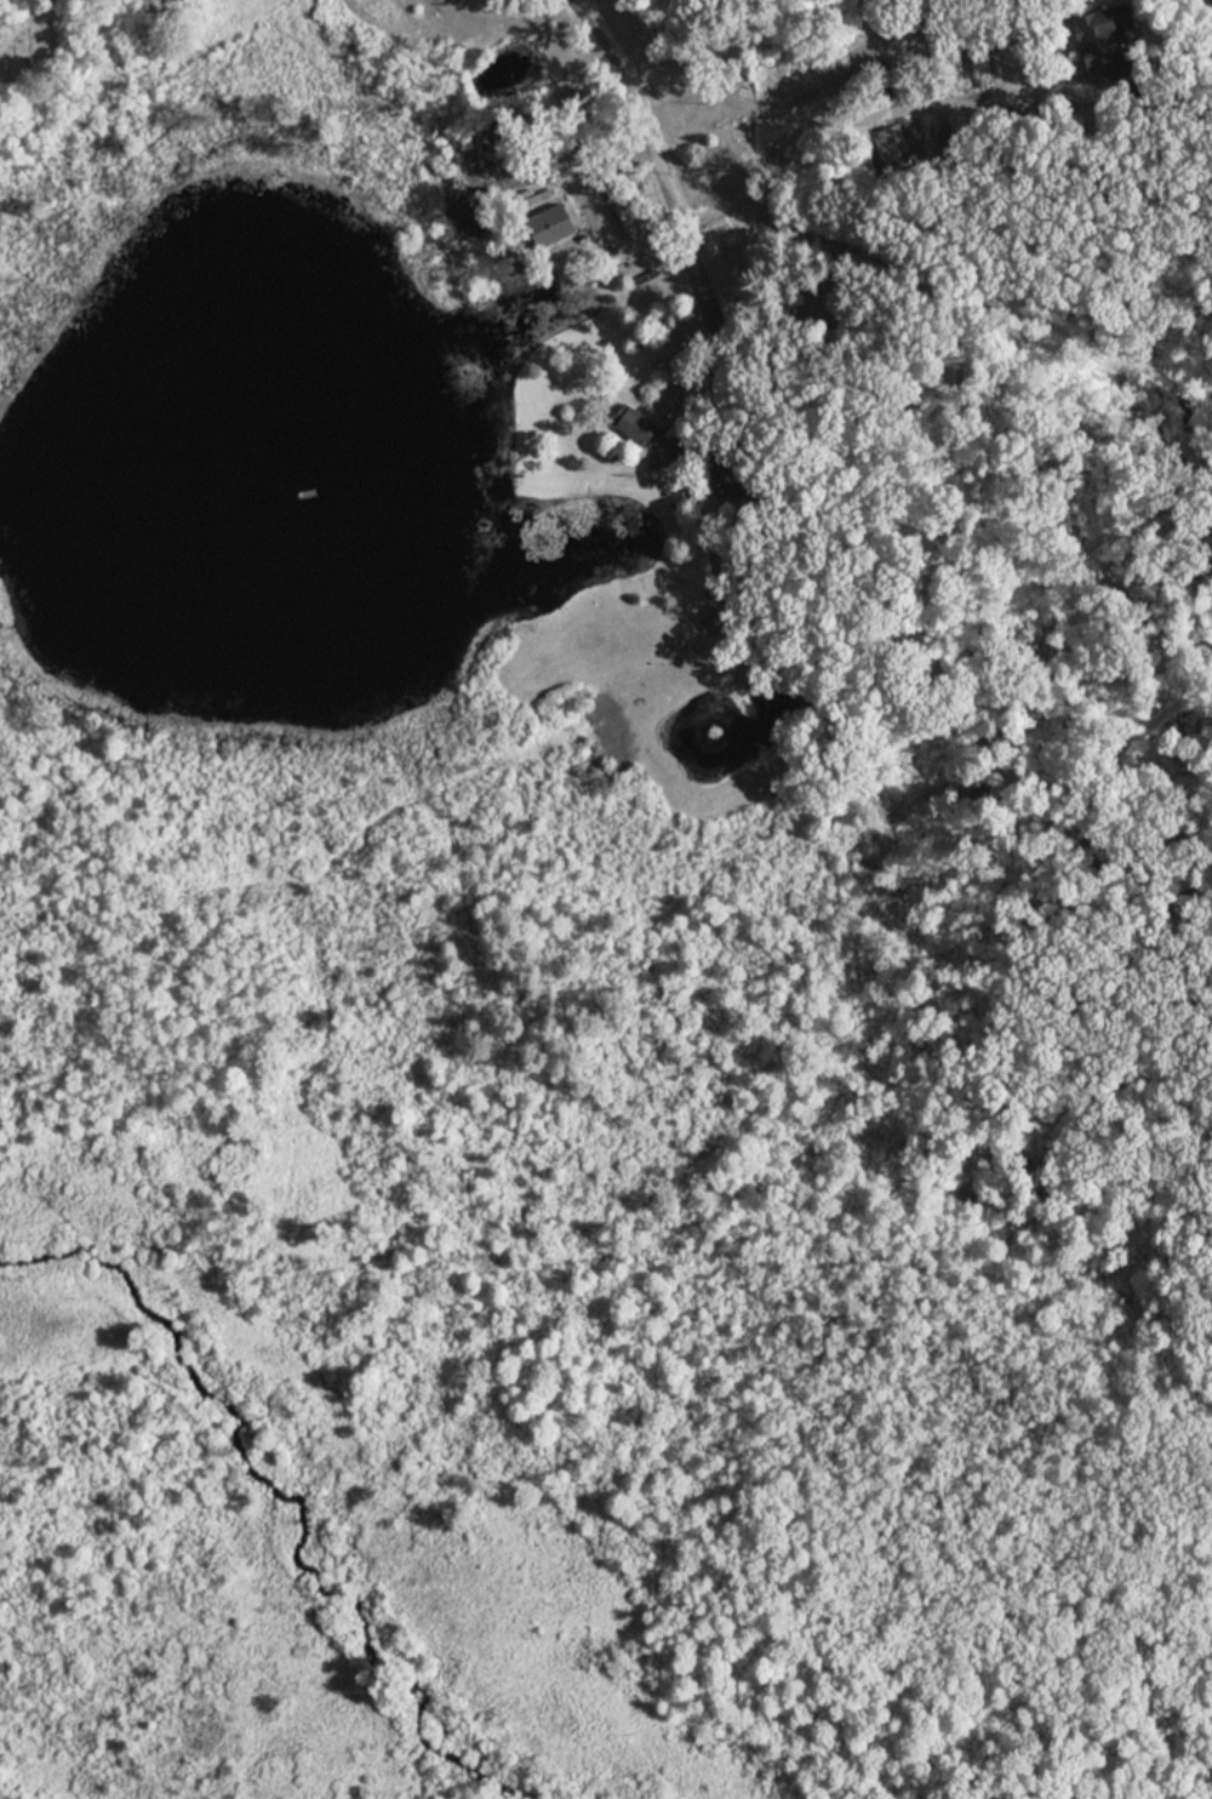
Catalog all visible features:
park: (40, 35)
building: (1107, 42)
road: (931, 109)
road: (651, 143)
building: (551, 224)
building: (634, 423)
park: (604, 1523)

